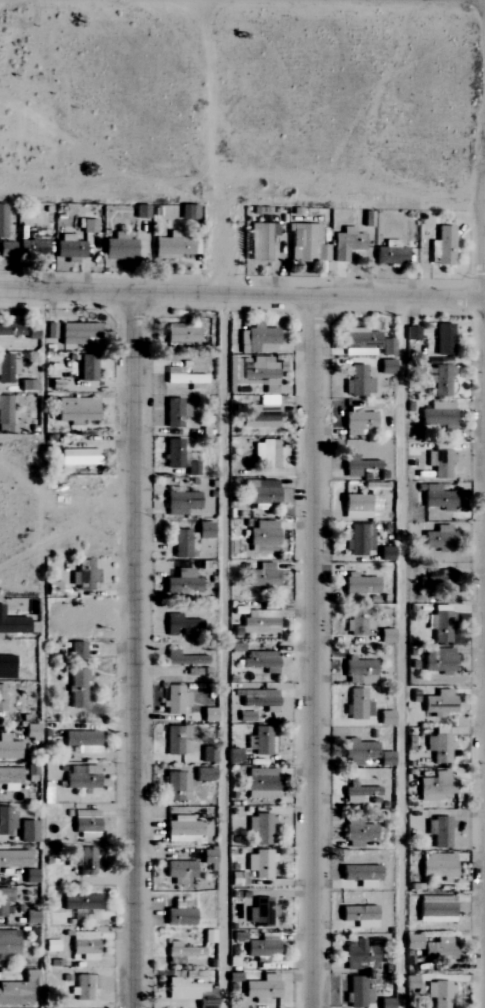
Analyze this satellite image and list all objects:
building: (2, 221)
building: (87, 225)
building: (260, 240)
building: (306, 243)
building: (346, 243)
building: (118, 246)
building: (173, 246)
building: (441, 246)
building: (68, 247)
building: (6, 249)
building: (33, 251)
building: (389, 255)
road: (242, 292)
building: (15, 329)
building: (77, 334)
building: (353, 337)
building: (258, 339)
building: (442, 339)
building: (386, 347)
building: (86, 367)
building: (385, 367)
building: (7, 369)
building: (259, 371)
building: (439, 380)
building: (357, 382)
building: (76, 410)
building: (174, 412)
building: (4, 413)
building: (438, 415)
building: (261, 416)
building: (356, 421)
building: (352, 448)
building: (172, 454)
building: (265, 455)
building: (77, 457)
building: (441, 464)
building: (356, 466)
building: (437, 498)
building: (180, 502)
building: (355, 506)
building: (203, 530)
building: (262, 538)
building: (437, 538)
building: (359, 539)
building: (180, 544)
building: (81, 575)
building: (262, 576)
building: (436, 579)
building: (181, 583)
building: (358, 584)
building: (259, 621)
building: (12, 625)
building: (180, 625)
building: (360, 626)
building: (441, 627)
road: (138, 649)
building: (75, 650)
road: (313, 651)
road: (399, 651)
building: (182, 659)
building: (437, 660)
building: (261, 661)
building: (6, 667)
building: (360, 670)
building: (76, 689)
building: (2, 698)
building: (258, 699)
building: (174, 700)
building: (438, 703)
building: (358, 705)
building: (208, 715)
building: (385, 717)
building: (30, 732)
building: (174, 739)
building: (82, 741)
building: (260, 741)
building: (8, 748)
building: (439, 748)
building: (357, 752)
building: (208, 756)
building: (203, 774)
building: (81, 777)
building: (9, 779)
building: (260, 784)
building: (436, 787)
building: (358, 794)
building: (6, 821)
building: (85, 824)
building: (260, 829)
building: (181, 830)
building: (26, 832)
building: (438, 832)
building: (357, 833)
building: (14, 859)
building: (83, 861)
building: (259, 864)
building: (436, 865)
building: (179, 869)
building: (359, 875)
building: (1, 898)
building: (80, 903)
building: (435, 909)
building: (260, 912)
building: (178, 916)
building: (358, 917)
building: (8, 942)
building: (412, 942)
building: (84, 945)
building: (262, 946)
building: (438, 949)
building: (181, 950)
building: (359, 956)
building: (410, 982)
building: (83, 986)
building: (182, 989)
building: (261, 989)
building: (18, 990)
building: (358, 993)
building: (439, 994)
building: (385, 1003)

